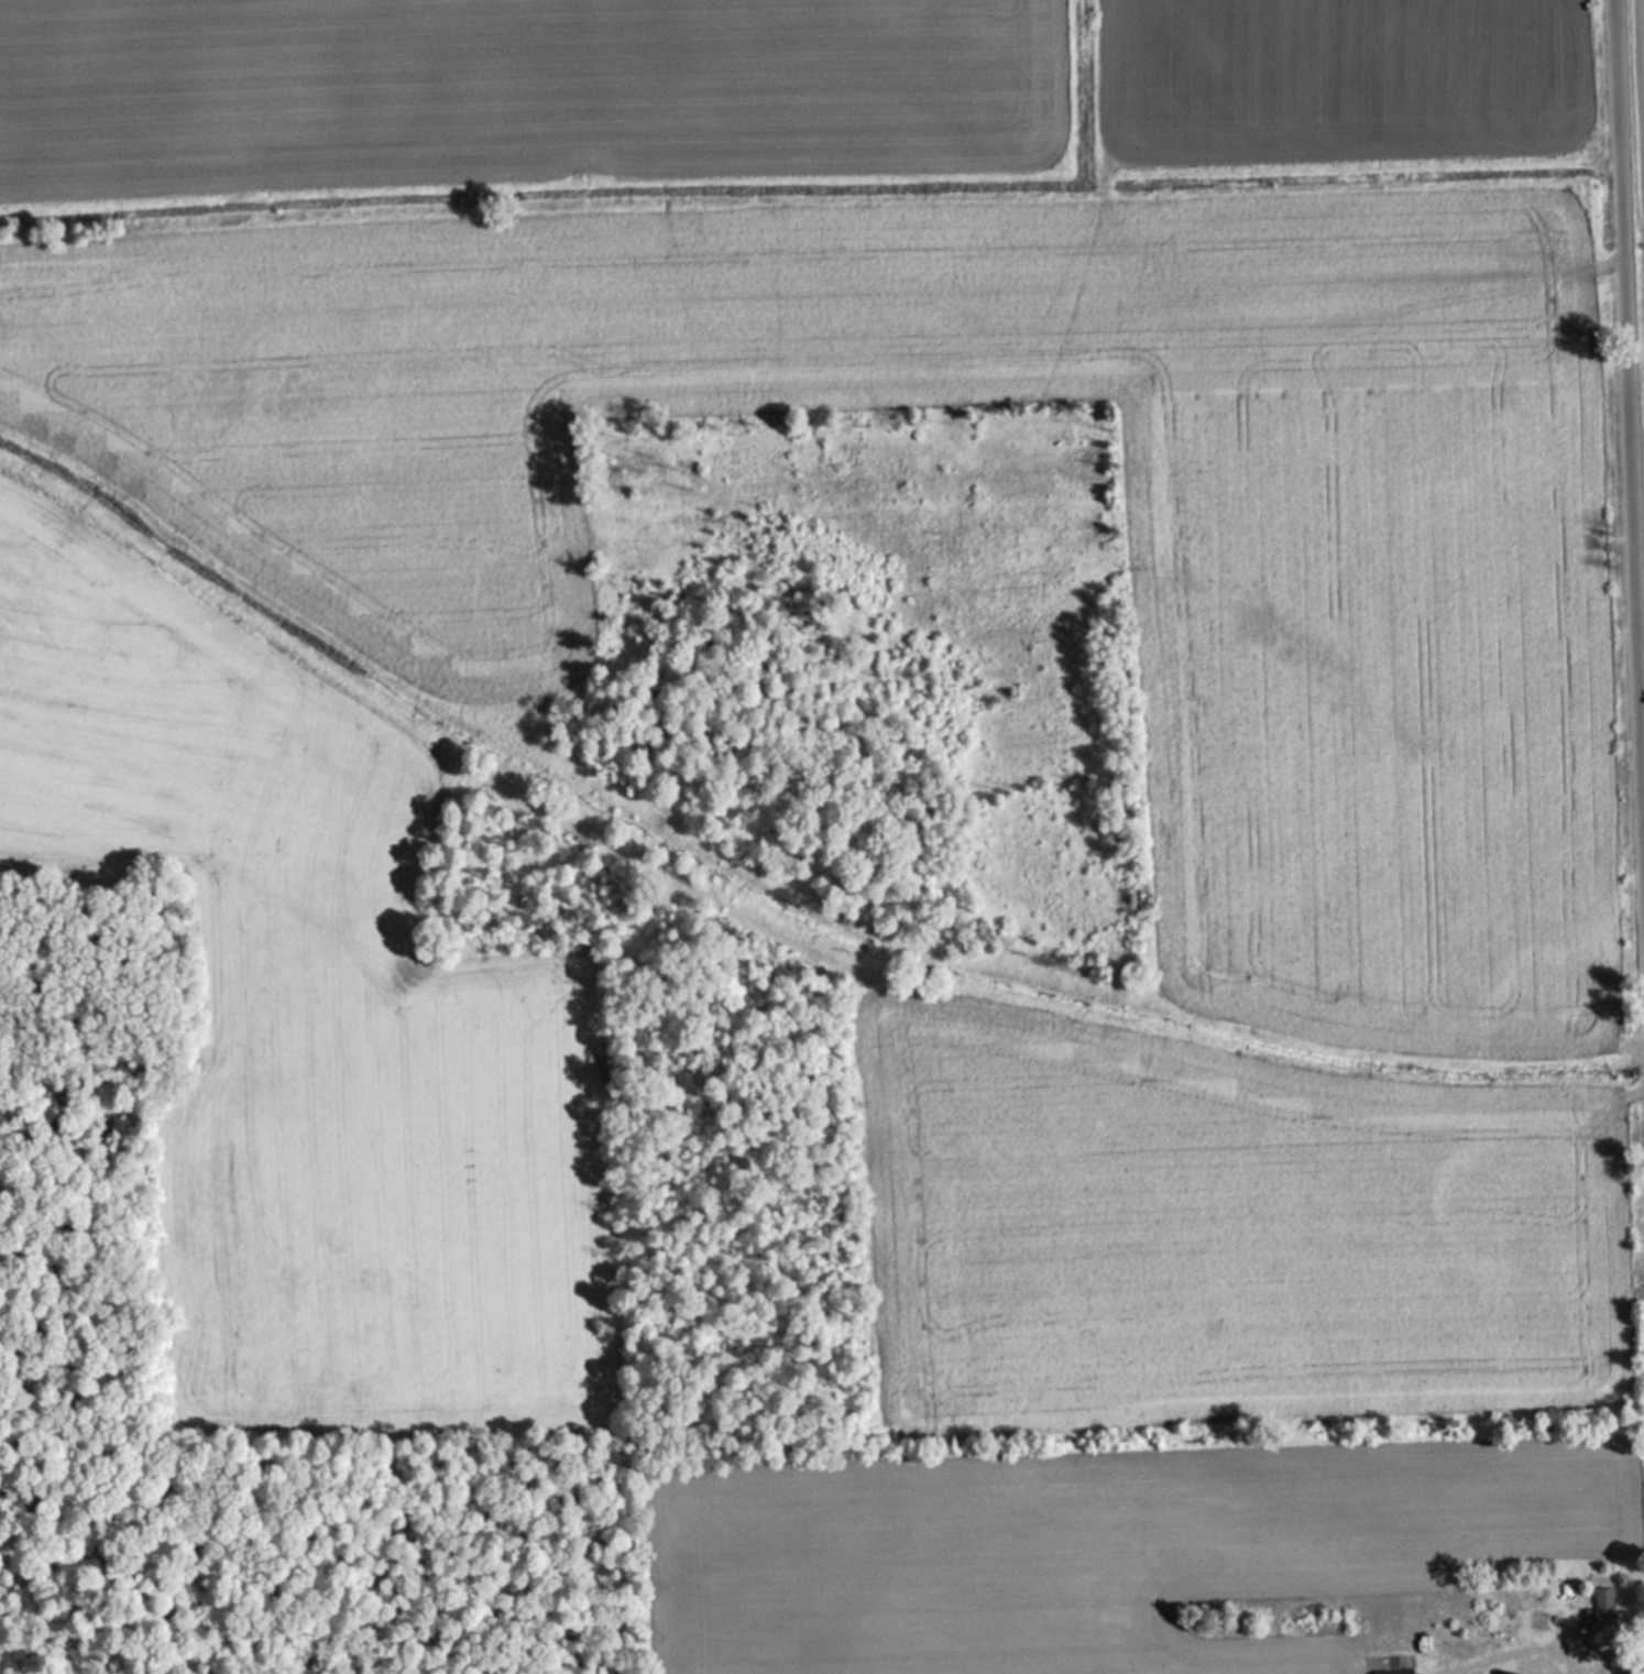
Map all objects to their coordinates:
road: (1630, 409)
building: (1602, 1609)

